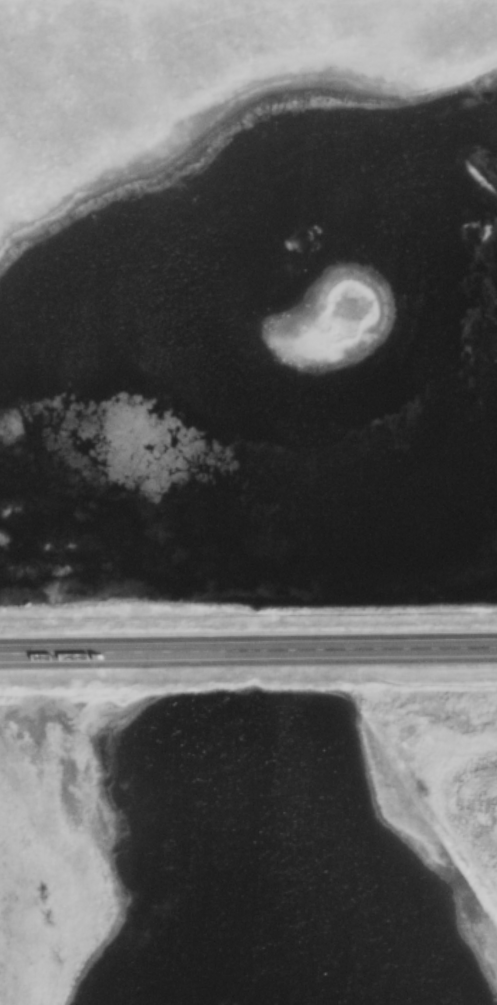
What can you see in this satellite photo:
road: (248, 650)

